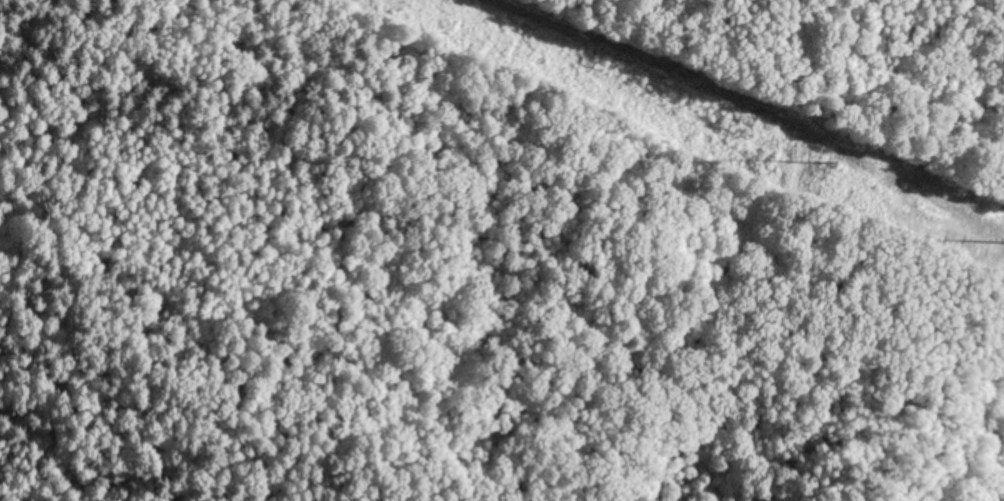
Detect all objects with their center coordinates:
power tower: (821, 161)

